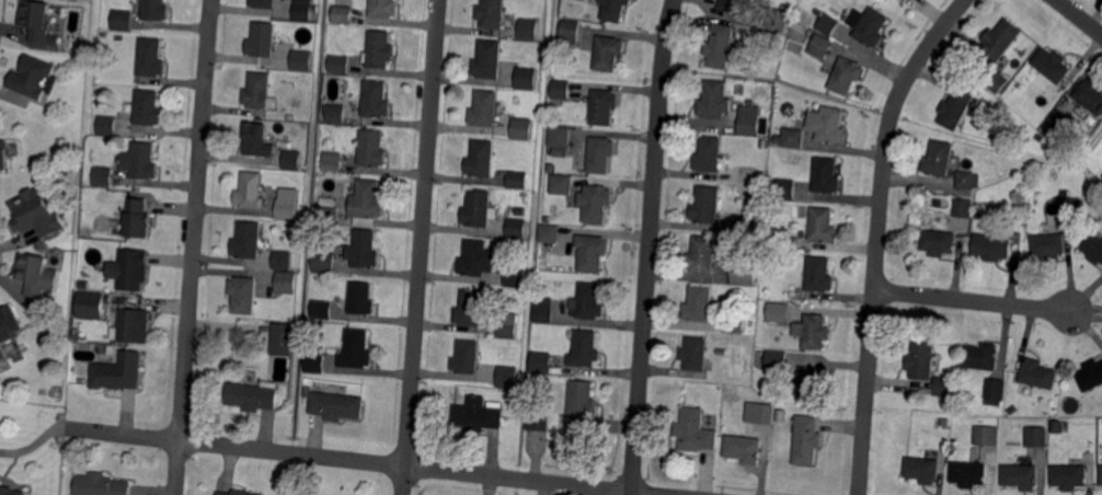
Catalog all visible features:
building: (902, 0)
building: (263, 3)
building: (731, 5)
building: (383, 8)
building: (615, 9)
building: (156, 10)
building: (302, 10)
building: (491, 13)
building: (344, 14)
road: (1079, 18)
building: (122, 19)
building: (767, 21)
building: (38, 22)
building: (827, 22)
building: (868, 26)
building: (529, 28)
building: (569, 33)
building: (262, 39)
building: (1000, 41)
building: (720, 45)
building: (820, 46)
building: (379, 49)
building: (607, 53)
building: (151, 57)
building: (301, 59)
building: (489, 59)
building: (340, 64)
building: (1053, 65)
building: (847, 74)
building: (1021, 77)
building: (31, 78)
building: (526, 78)
building: (995, 82)
building: (561, 89)
building: (260, 92)
building: (1091, 95)
building: (377, 100)
building: (714, 100)
building: (604, 106)
building: (148, 107)
building: (956, 107)
building: (484, 108)
building: (337, 113)
building: (1060, 117)
building: (748, 120)
building: (107, 125)
building: (827, 125)
building: (523, 128)
building: (560, 136)
building: (793, 137)
building: (256, 140)
building: (774, 140)
building: (372, 148)
building: (600, 153)
building: (709, 154)
building: (3, 156)
building: (291, 158)
building: (939, 158)
building: (481, 159)
building: (141, 161)
building: (333, 161)
building: (549, 168)
building: (826, 175)
building: (102, 177)
building: (517, 179)
building: (967, 179)
building: (562, 184)
building: (784, 188)
building: (251, 191)
building: (367, 199)
building: (595, 203)
building: (287, 205)
building: (707, 205)
building: (964, 207)
building: (1070, 207)
building: (478, 208)
building: (36, 214)
building: (329, 214)
building: (139, 218)
building: (363, 219)
building: (745, 223)
building: (823, 225)
building: (517, 228)
building: (549, 233)
road: (877, 235)
building: (248, 240)
building: (939, 242)
building: (791, 243)
building: (1049, 244)
road: (193, 246)
road: (650, 246)
building: (994, 246)
road: (422, 248)
building: (1093, 248)
building: (364, 250)
building: (593, 252)
building: (702, 254)
building: (283, 258)
building: (477, 258)
building: (324, 262)
building: (134, 270)
building: (745, 272)
building: (32, 274)
building: (819, 274)
building: (515, 276)
building: (286, 281)
building: (83, 286)
building: (243, 295)
building: (361, 298)
road: (973, 300)
building: (588, 302)
building: (699, 303)
building: (91, 306)
building: (470, 308)
building: (543, 308)
building: (322, 309)
building: (779, 311)
building: (735, 323)
building: (9, 324)
building: (508, 324)
building: (134, 326)
building: (816, 331)
building: (282, 339)
building: (319, 345)
building: (356, 348)
building: (585, 348)
building: (695, 353)
building: (721, 353)
building: (982, 356)
building: (467, 357)
building: (1, 358)
building: (777, 359)
building: (922, 359)
building: (314, 362)
building: (540, 362)
building: (118, 373)
building: (1038, 373)
building: (507, 376)
building: (1091, 376)
building: (543, 379)
building: (812, 382)
building: (943, 387)
building: (306, 392)
building: (995, 392)
building: (513, 395)
building: (252, 398)
building: (949, 402)
building: (337, 405)
building: (581, 406)
building: (760, 412)
building: (478, 414)
building: (535, 419)
building: (945, 422)
building: (790, 424)
building: (693, 431)
building: (987, 435)
building: (1037, 436)
building: (807, 439)
building: (744, 448)
road: (364, 461)
building: (922, 469)
building: (969, 473)
building: (1101, 474)
building: (1021, 475)
building: (1070, 475)
building: (102, 484)
building: (10, 491)
building: (239, 493)

